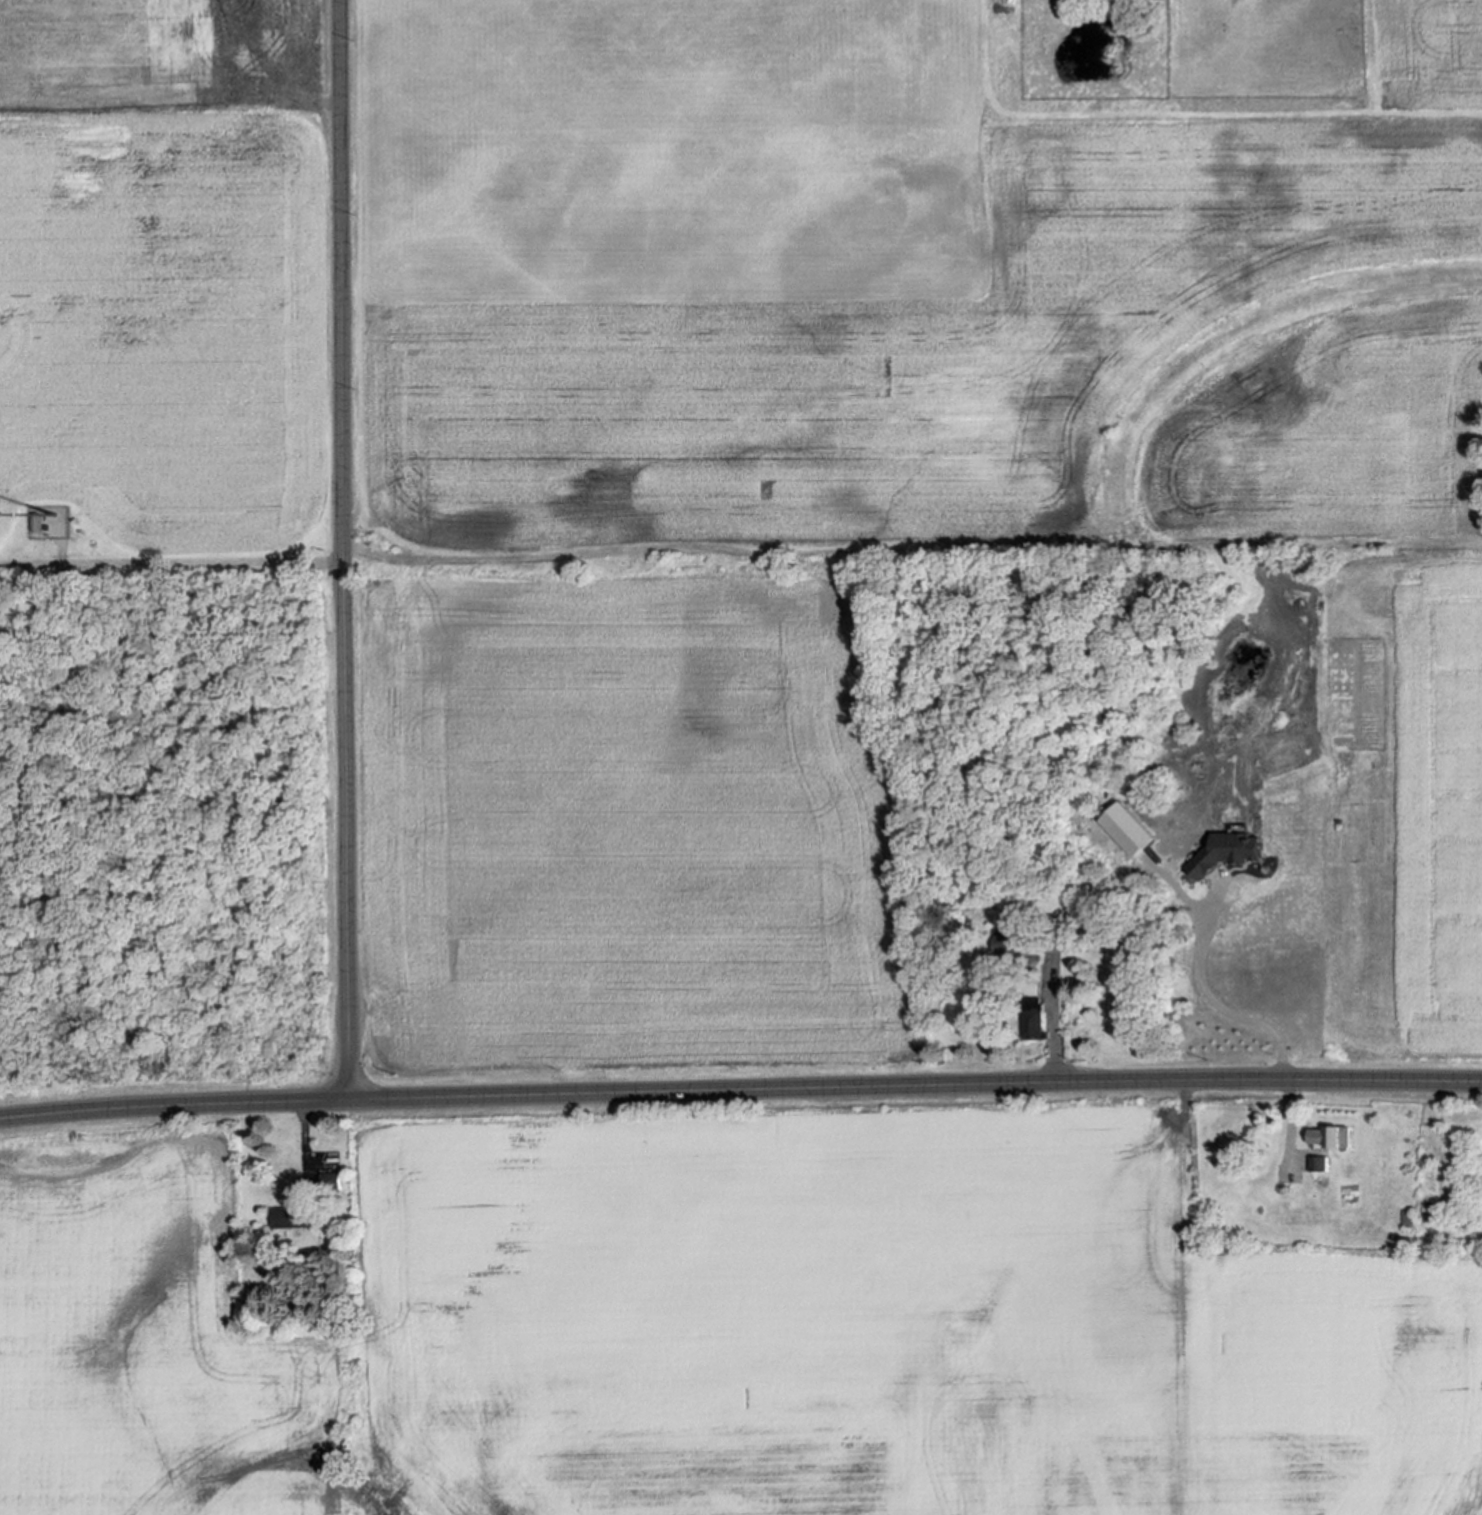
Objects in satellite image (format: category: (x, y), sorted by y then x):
building: (37, 524)
road: (350, 543)
road: (175, 562)
building: (1129, 830)
building: (1228, 853)
building: (1060, 899)
building: (933, 900)
building: (944, 909)
building: (1007, 940)
road: (1215, 1000)
road: (1054, 1018)
building: (1032, 1019)
road: (740, 1081)
building: (1331, 1138)
building: (1318, 1163)
building: (328, 1183)
building: (1407, 1217)
building: (290, 1219)

